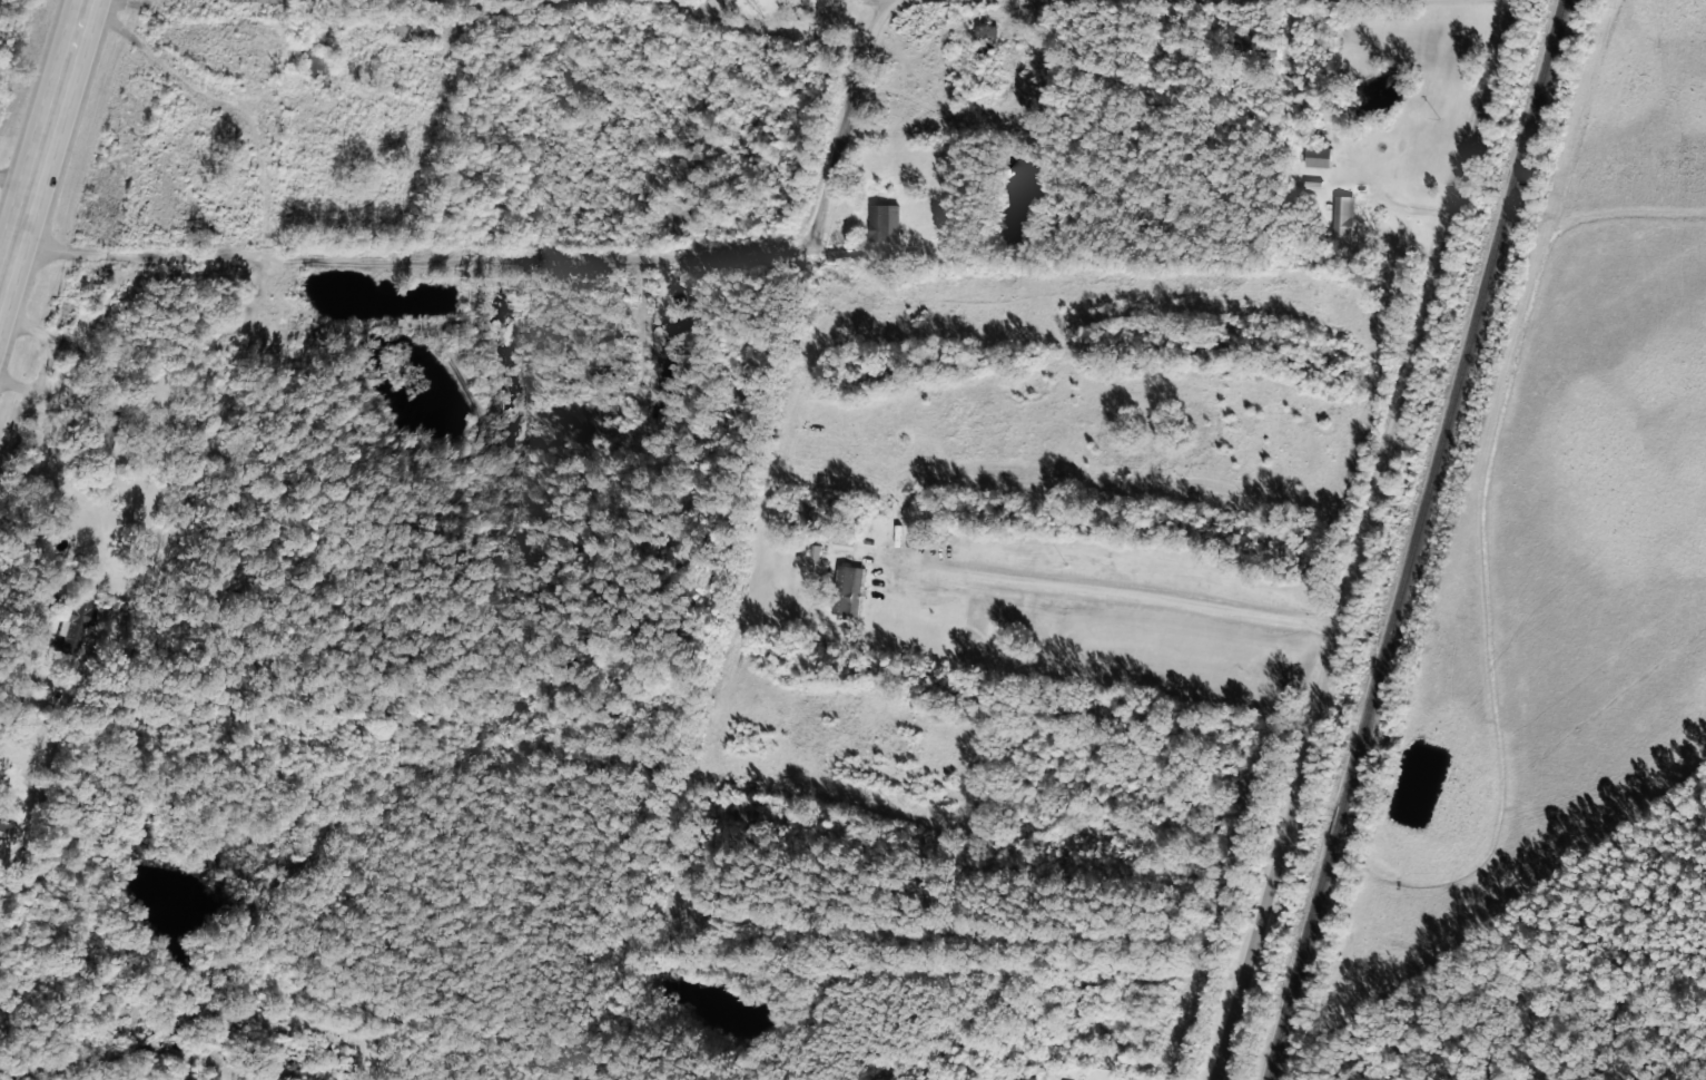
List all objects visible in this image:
building: (276, 0)
building: (985, 35)
road: (171, 78)
road: (43, 144)
building: (1315, 155)
building: (1341, 213)
building: (882, 220)
road: (541, 257)
railway: (1414, 539)
road: (1362, 540)
building: (848, 590)
building: (70, 624)
building: (1, 827)

